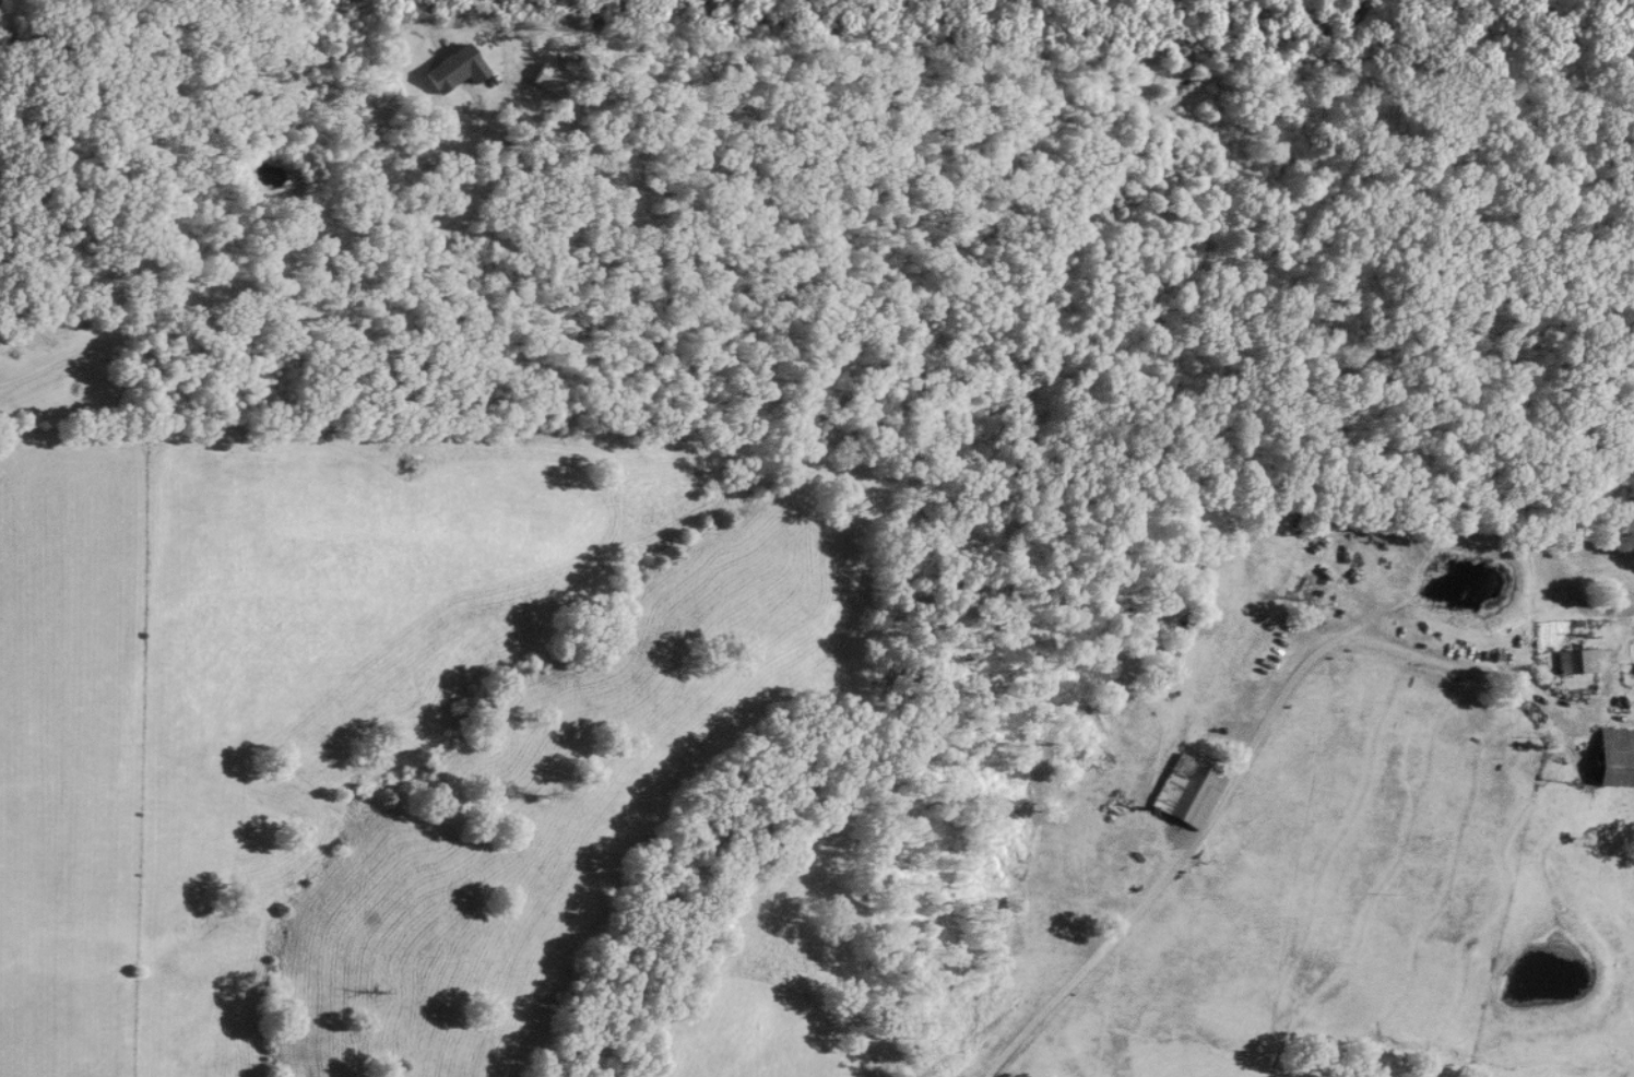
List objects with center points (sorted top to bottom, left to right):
building: (553, 82)
road: (519, 99)
road: (236, 327)
building: (1578, 662)
road: (1245, 758)
building: (1614, 759)
building: (1187, 794)

